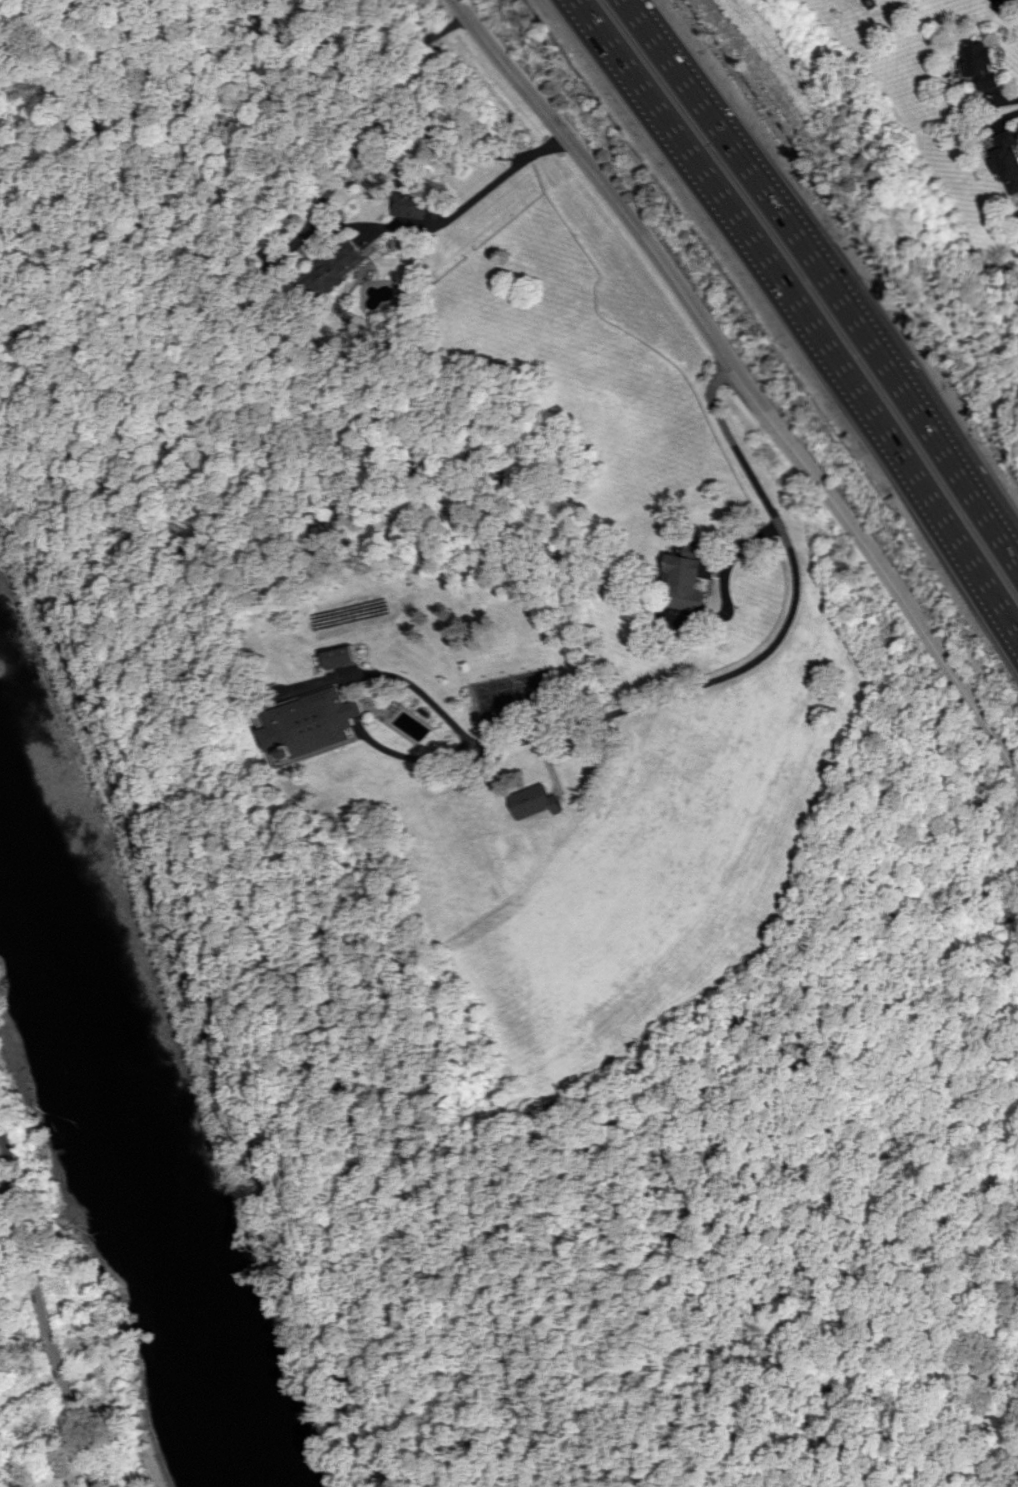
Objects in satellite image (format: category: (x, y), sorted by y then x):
building: (979, 65)
road: (505, 69)
road: (414, 127)
road: (540, 149)
road: (723, 156)
building: (1004, 159)
building: (408, 206)
road: (403, 224)
building: (334, 268)
road: (793, 315)
road: (719, 377)
road: (926, 439)
road: (791, 448)
building: (688, 578)
road: (766, 652)
building: (351, 657)
road: (407, 682)
building: (328, 723)
road: (423, 757)
building: (537, 801)
park: (871, 967)
river: (126, 1164)
road: (8, 1168)
road: (6, 1186)
road: (753, 1215)
road: (570, 1229)
road: (1009, 1256)
building: (6, 1337)
road: (47, 1341)
building: (72, 1351)
road: (335, 1362)
building: (48, 1480)

